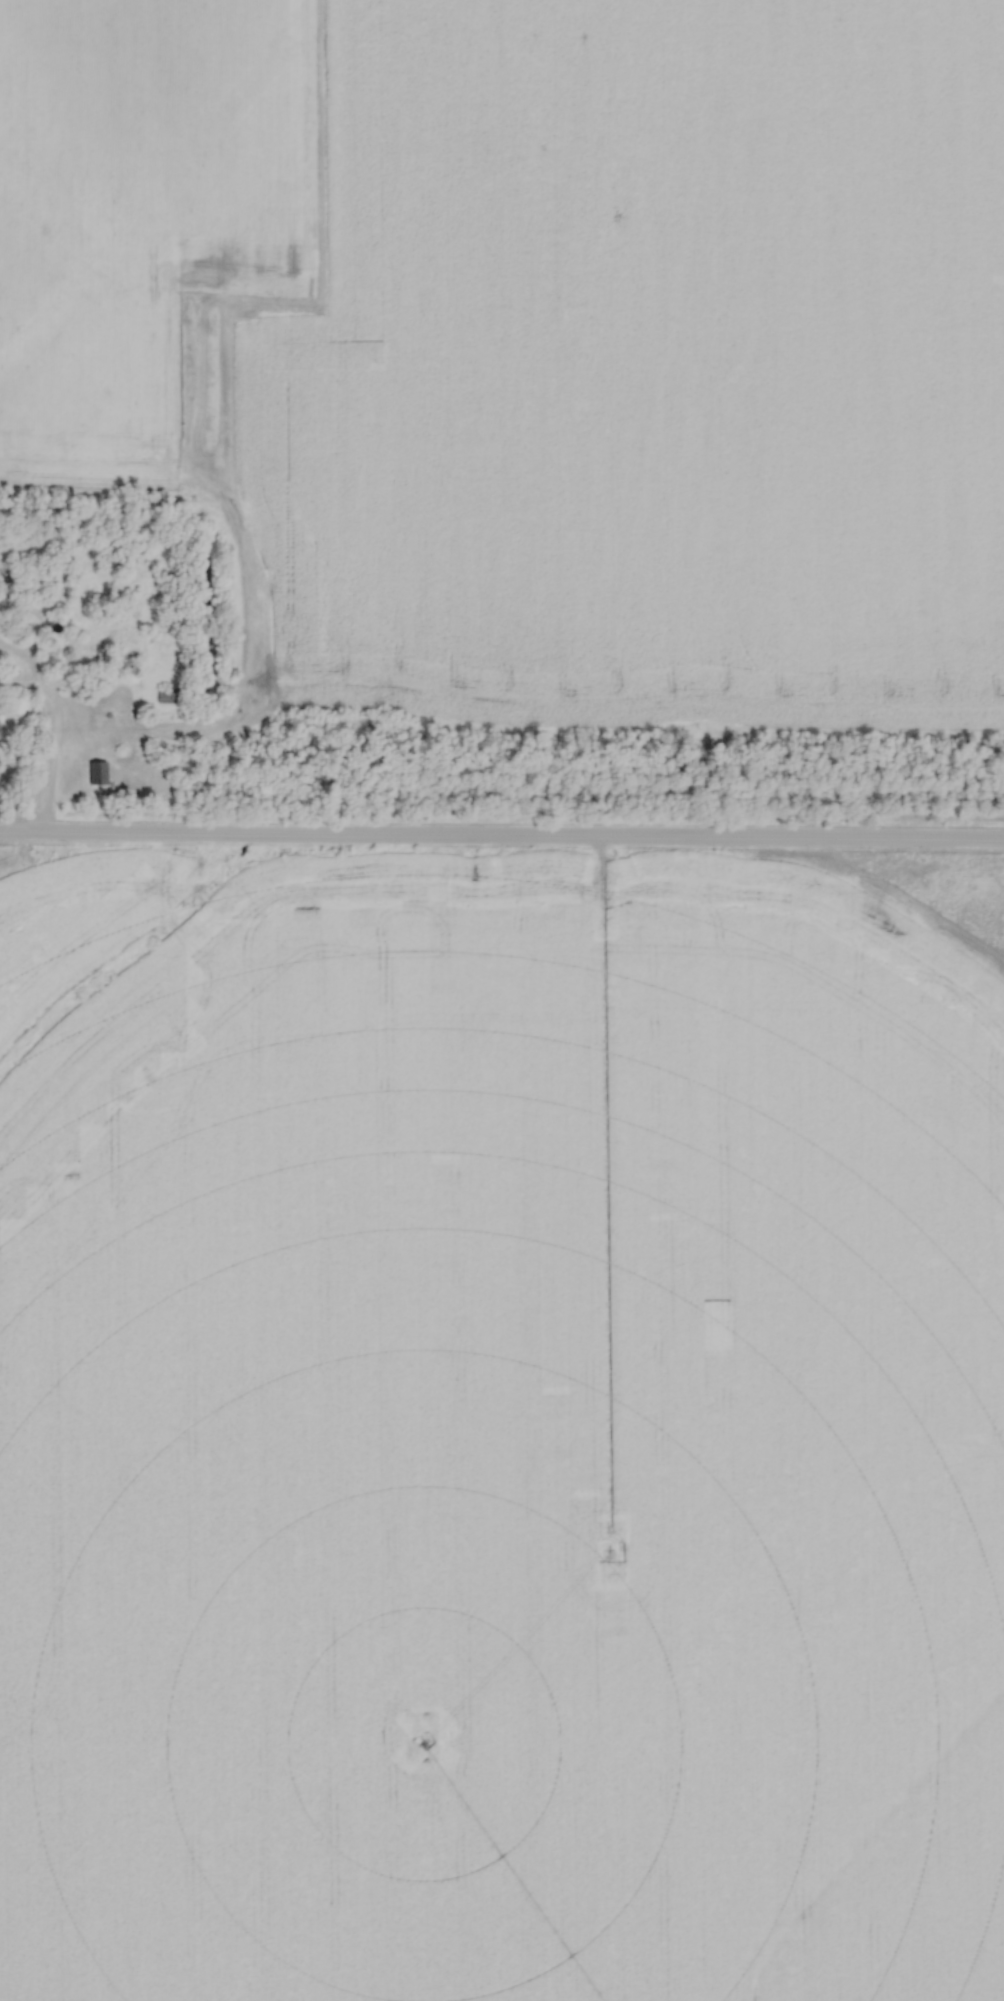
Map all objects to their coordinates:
building: (122, 640)
building: (167, 695)
building: (0, 735)
road: (51, 741)
building: (98, 773)
road: (501, 836)

